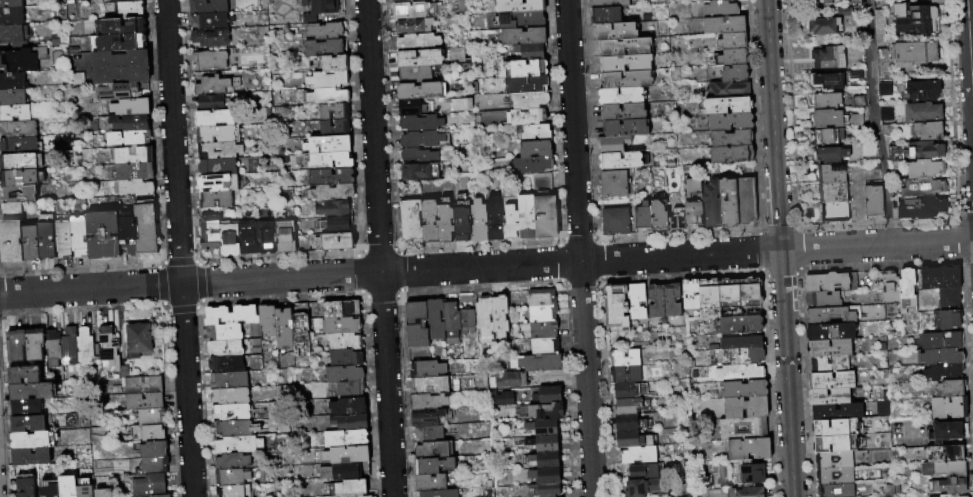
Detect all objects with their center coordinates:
building: (125, 0)
building: (422, 0)
building: (719, 0)
building: (818, 0)
building: (404, 1)
building: (826, 1)
building: (607, 3)
building: (10, 4)
building: (207, 6)
building: (518, 6)
building: (719, 8)
building: (129, 9)
building: (316, 9)
building: (413, 10)
building: (844, 12)
building: (605, 15)
building: (10, 16)
building: (914, 18)
building: (208, 20)
building: (520, 20)
building: (877, 21)
building: (723, 24)
building: (122, 26)
building: (413, 26)
building: (822, 26)
building: (615, 31)
building: (323, 32)
building: (10, 33)
building: (522, 36)
building: (210, 37)
building: (731, 40)
building: (120, 42)
building: (417, 43)
building: (624, 47)
building: (322, 48)
building: (529, 51)
building: (913, 54)
building: (732, 57)
building: (828, 57)
building: (419, 59)
building: (208, 60)
building: (18, 61)
building: (625, 62)
building: (334, 64)
road: (969, 65)
building: (119, 66)
building: (527, 68)
building: (734, 73)
building: (415, 75)
building: (626, 79)
building: (326, 80)
building: (827, 80)
building: (11, 81)
building: (526, 85)
building: (211, 86)
building: (883, 88)
building: (727, 89)
building: (116, 90)
building: (923, 90)
building: (419, 91)
building: (619, 95)
building: (12, 97)
building: (325, 97)
building: (528, 100)
building: (827, 100)
building: (210, 103)
building: (726, 105)
building: (130, 107)
building: (409, 108)
building: (622, 111)
building: (333, 112)
building: (922, 112)
building: (14, 113)
building: (884, 114)
building: (526, 117)
building: (213, 118)
building: (829, 119)
building: (854, 119)
building: (729, 121)
building: (129, 122)
road: (873, 123)
building: (420, 124)
building: (625, 128)
building: (18, 129)
building: (333, 129)
building: (928, 130)
building: (535, 133)
building: (214, 134)
building: (730, 137)
building: (828, 137)
building: (127, 139)
building: (420, 140)
building: (612, 143)
building: (18, 145)
building: (327, 145)
building: (534, 149)
building: (925, 149)
building: (218, 150)
building: (730, 154)
building: (831, 154)
building: (133, 156)
building: (417, 156)
building: (620, 160)
building: (330, 161)
building: (17, 162)
building: (530, 165)
building: (216, 166)
building: (924, 168)
building: (133, 171)
building: (416, 173)
building: (831, 173)
building: (330, 177)
building: (18, 178)
building: (217, 183)
building: (613, 184)
road: (856, 185)
building: (134, 187)
building: (923, 187)
building: (832, 192)
building: (17, 194)
building: (331, 194)
building: (214, 199)
building: (692, 201)
building: (745, 201)
building: (872, 201)
building: (727, 202)
building: (710, 204)
building: (921, 207)
building: (544, 208)
building: (332, 210)
building: (9, 211)
building: (833, 211)
building: (643, 216)
building: (658, 216)
building: (525, 217)
building: (493, 219)
building: (677, 219)
building: (409, 220)
building: (429, 220)
building: (477, 221)
building: (614, 221)
building: (510, 222)
building: (444, 223)
building: (461, 223)
building: (336, 226)
building: (144, 227)
road: (859, 231)
building: (209, 232)
building: (126, 233)
building: (102, 235)
building: (45, 236)
building: (78, 237)
building: (285, 237)
building: (266, 238)
building: (62, 239)
building: (248, 239)
building: (229, 240)
building: (10, 242)
building: (29, 243)
building: (333, 243)
road: (178, 248)
road: (378, 248)
road: (579, 248)
road: (779, 248)
road: (486, 267)
building: (940, 277)
building: (830, 281)
building: (889, 286)
building: (906, 290)
building: (748, 292)
building: (728, 293)
building: (688, 294)
building: (708, 294)
building: (540, 299)
building: (822, 299)
building: (948, 299)
building: (670, 300)
building: (635, 301)
building: (654, 301)
building: (615, 305)
building: (338, 309)
building: (832, 314)
building: (230, 315)
building: (541, 315)
building: (498, 316)
building: (949, 318)
building: (266, 320)
building: (434, 320)
building: (483, 320)
building: (450, 321)
building: (466, 321)
building: (737, 324)
building: (416, 325)
building: (339, 326)
building: (282, 328)
building: (299, 328)
building: (542, 331)
building: (830, 331)
building: (223, 332)
building: (940, 340)
building: (138, 341)
building: (342, 342)
building: (740, 342)
building: (33, 344)
building: (14, 345)
building: (84, 345)
building: (68, 346)
building: (108, 346)
building: (52, 347)
building: (542, 347)
building: (829, 347)
building: (224, 348)
building: (737, 356)
building: (940, 357)
building: (344, 358)
building: (622, 358)
building: (225, 363)
building: (534, 363)
building: (828, 363)
building: (426, 369)
building: (123, 371)
building: (743, 373)
building: (942, 373)
building: (341, 374)
building: (23, 375)
building: (623, 375)
building: (831, 379)
building: (227, 380)
building: (506, 381)
building: (141, 384)
building: (428, 385)
building: (742, 389)
building: (949, 389)
building: (347, 390)
building: (628, 390)
building: (31, 391)
building: (229, 395)
building: (546, 396)
building: (828, 396)
building: (499, 399)
building: (428, 400)
building: (143, 401)
building: (626, 406)
building: (346, 407)
building: (744, 407)
building: (948, 407)
building: (25, 408)
building: (836, 411)
building: (229, 412)
building: (544, 412)
building: (426, 416)
building: (151, 417)
building: (28, 423)
building: (348, 423)
building: (627, 423)
building: (834, 427)
building: (233, 428)
building: (540, 428)
building: (740, 428)
building: (946, 431)
building: (153, 433)
building: (429, 433)
building: (344, 439)
building: (630, 439)
building: (32, 440)
building: (835, 443)
building: (236, 444)
building: (542, 444)
building: (153, 449)
building: (432, 449)
building: (747, 449)
building: (943, 453)
building: (345, 455)
building: (636, 455)
building: (30, 457)
building: (833, 459)
building: (544, 460)
building: (231, 461)
building: (151, 465)
building: (433, 465)
building: (943, 468)
building: (343, 471)
building: (641, 471)
building: (750, 474)
building: (834, 475)
building: (230, 477)
building: (544, 477)
building: (430, 482)
building: (949, 484)
building: (24, 485)
building: (148, 485)
building: (67, 486)
building: (84, 487)
building: (641, 487)
building: (49, 488)
building: (346, 489)
building: (546, 490)
building: (835, 490)
building: (229, 491)
building: (103, 492)
building: (744, 492)
building: (437, 493)
building: (949, 495)
building: (160, 496)
building: (354, 496)

